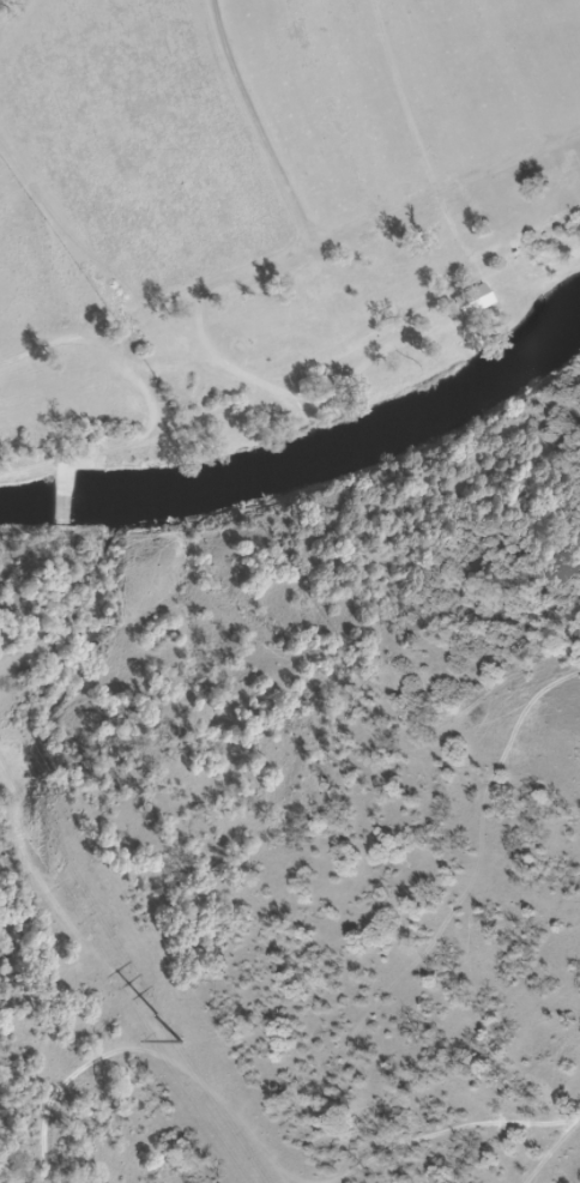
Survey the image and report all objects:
power tower: (182, 1043)

